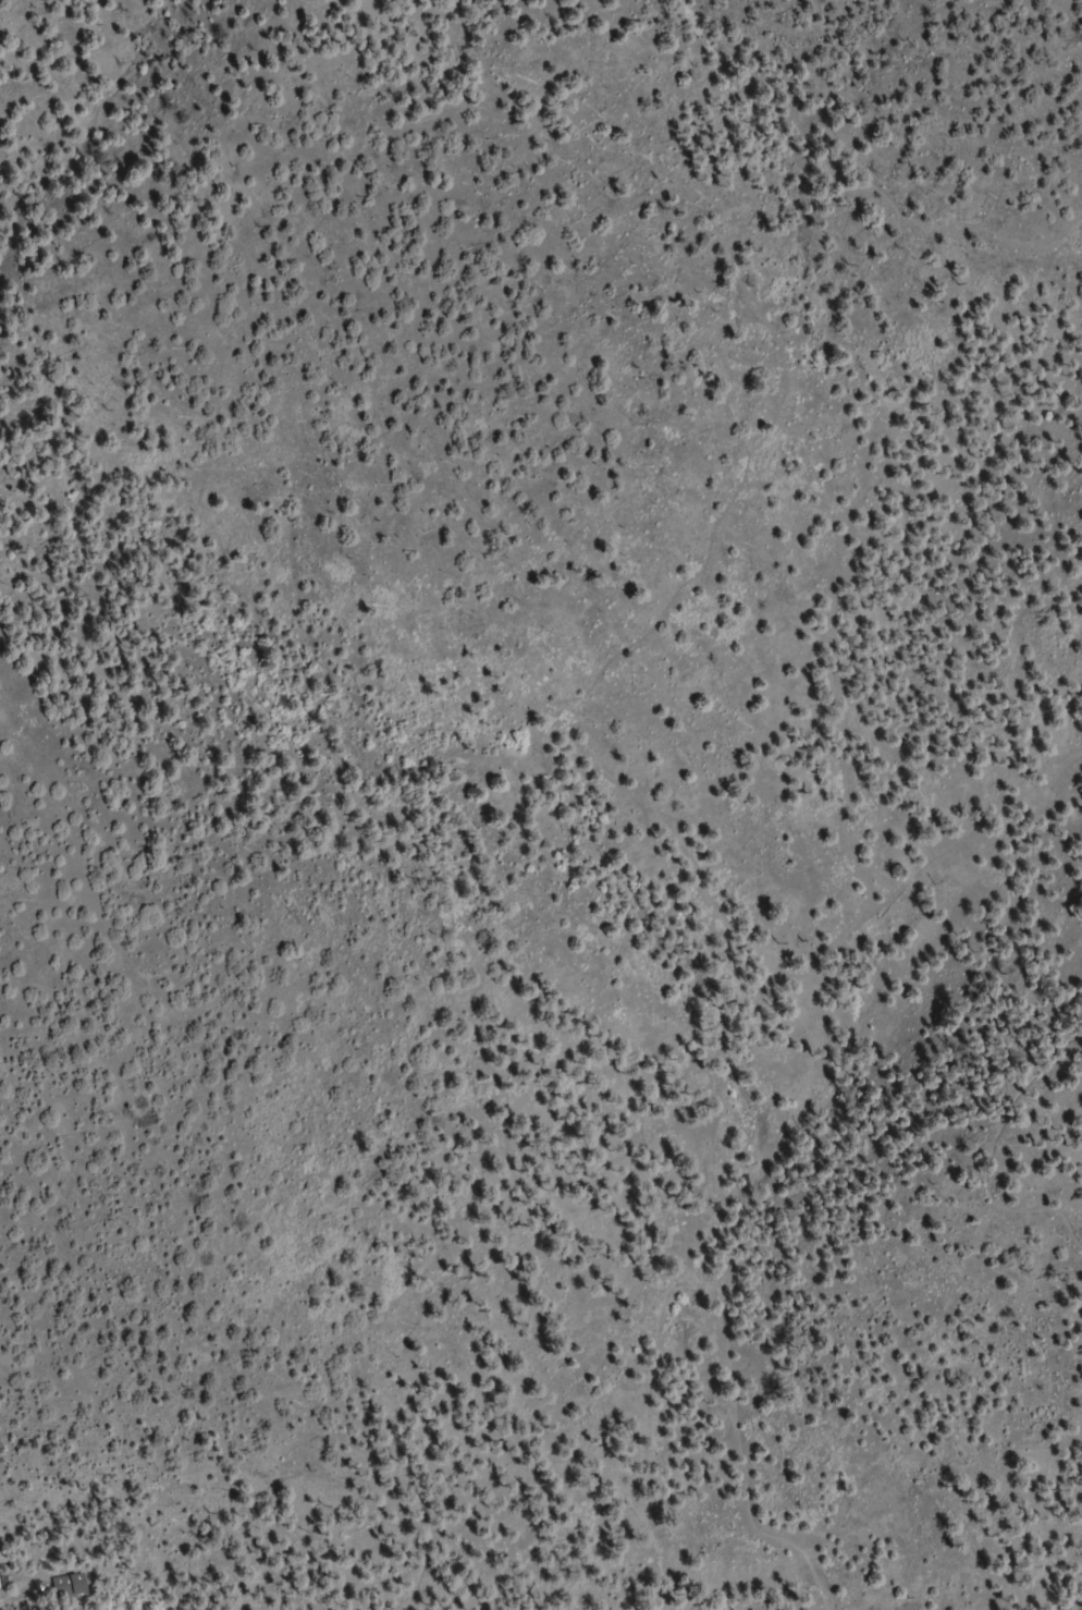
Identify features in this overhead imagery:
road: (817, 934)
road: (739, 1435)
building: (0, 1575)
building: (72, 1586)

